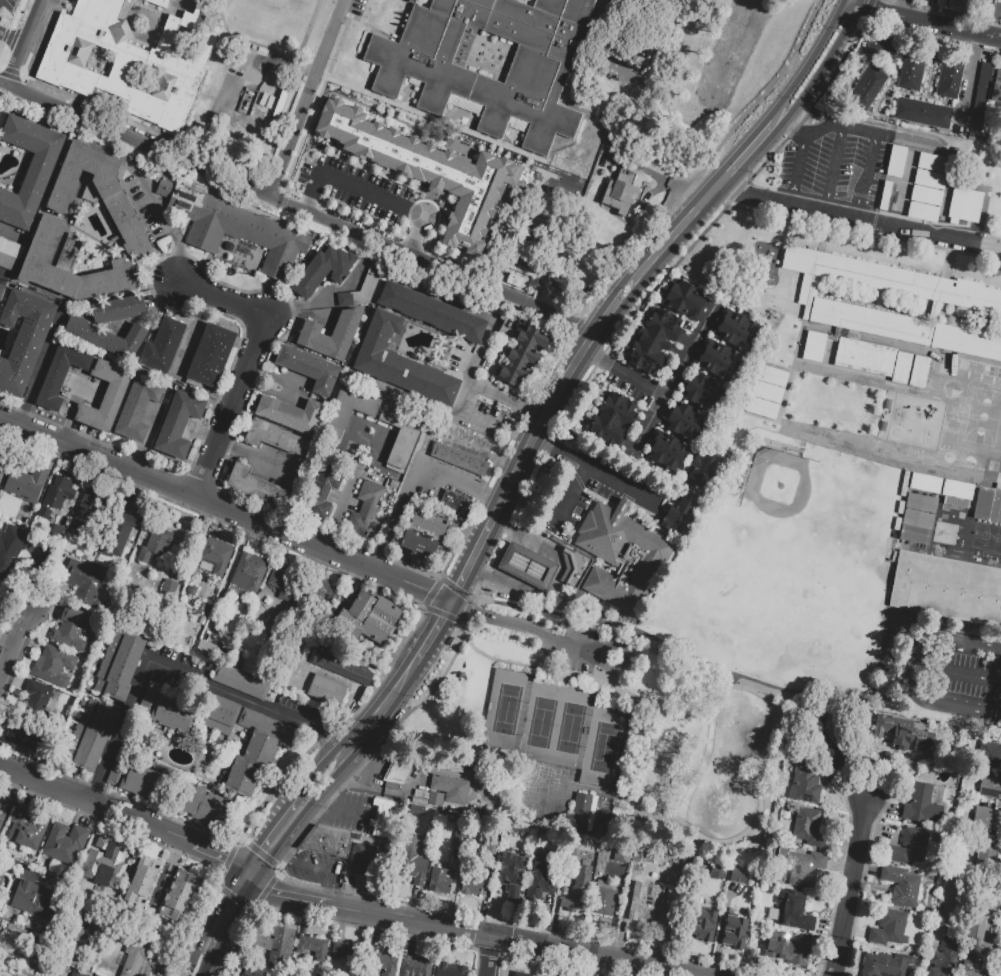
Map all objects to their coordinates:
building: (178, 0)
building: (986, 0)
building: (159, 3)
road: (856, 3)
building: (962, 6)
parking lot: (357, 9)
building: (568, 9)
road: (165, 12)
road: (928, 21)
road: (308, 30)
road: (377, 32)
building: (544, 35)
road: (5, 39)
road: (22, 42)
road: (15, 44)
road: (367, 45)
road: (256, 46)
building: (882, 46)
building: (129, 59)
road: (812, 62)
road: (822, 70)
building: (913, 73)
road: (969, 76)
building: (952, 79)
road: (337, 81)
building: (474, 81)
building: (998, 85)
road: (322, 87)
building: (868, 89)
road: (310, 98)
building: (982, 102)
building: (0, 110)
building: (924, 115)
road: (602, 119)
road: (306, 128)
road: (793, 129)
road: (844, 130)
road: (136, 140)
road: (750, 149)
parking lot: (352, 151)
road: (527, 155)
parking lot: (838, 161)
building: (899, 163)
road: (803, 164)
road: (707, 166)
building: (425, 169)
building: (30, 171)
road: (835, 171)
building: (106, 178)
road: (869, 178)
road: (280, 183)
building: (163, 188)
building: (930, 189)
road: (373, 193)
building: (623, 196)
building: (887, 197)
building: (967, 207)
road: (341, 208)
parking lot: (147, 209)
road: (858, 219)
road: (167, 224)
building: (129, 227)
building: (236, 230)
building: (44, 243)
building: (10, 255)
road: (433, 264)
building: (322, 270)
building: (886, 281)
building: (110, 282)
building: (516, 282)
building: (362, 289)
building: (1, 291)
building: (688, 295)
building: (681, 308)
building: (117, 309)
building: (431, 313)
building: (665, 320)
building: (740, 325)
building: (905, 328)
building: (661, 330)
road: (592, 334)
building: (311, 335)
building: (106, 337)
building: (732, 337)
building: (652, 338)
building: (23, 339)
building: (814, 345)
building: (164, 348)
building: (646, 350)
parking lot: (444, 355)
building: (722, 356)
building: (865, 356)
building: (523, 357)
building: (212, 359)
road: (250, 362)
building: (400, 364)
building: (642, 364)
building: (713, 367)
building: (901, 367)
road: (38, 370)
building: (309, 370)
building: (919, 371)
road: (623, 373)
building: (60, 375)
road: (470, 378)
building: (705, 386)
road: (484, 387)
building: (767, 391)
building: (106, 396)
building: (698, 398)
building: (621, 405)
building: (138, 409)
building: (348, 411)
parking lot: (489, 412)
building: (291, 415)
building: (687, 416)
road: (462, 417)
building: (614, 417)
park: (983, 417)
road: (653, 418)
building: (179, 425)
building: (681, 428)
building: (400, 431)
building: (603, 433)
building: (276, 439)
road: (540, 441)
park: (1000, 446)
building: (673, 447)
road: (558, 451)
building: (456, 459)
building: (666, 459)
building: (4, 463)
building: (696, 468)
building: (710, 474)
road: (451, 478)
parking lot: (438, 480)
road: (612, 480)
building: (27, 484)
building: (926, 484)
building: (255, 485)
parking lot: (582, 487)
building: (957, 491)
road: (344, 492)
building: (324, 493)
building: (57, 494)
road: (493, 495)
road: (570, 497)
park: (789, 499)
building: (456, 505)
building: (987, 505)
park: (996, 507)
road: (225, 508)
building: (367, 510)
building: (919, 512)
building: (89, 513)
building: (673, 515)
road: (395, 516)
building: (123, 517)
building: (684, 521)
building: (431, 525)
road: (510, 528)
park: (993, 536)
building: (117, 539)
building: (12, 543)
building: (155, 545)
building: (422, 545)
building: (217, 557)
building: (619, 558)
road: (514, 559)
road: (470, 560)
building: (526, 565)
gas station: (526, 565)
building: (572, 569)
building: (251, 573)
road: (487, 576)
building: (85, 582)
building: (288, 583)
building: (946, 588)
road: (49, 589)
building: (170, 589)
road: (463, 595)
building: (323, 597)
road: (19, 599)
traffic signals: (450, 602)
park: (777, 606)
building: (363, 607)
road: (46, 610)
building: (203, 612)
building: (388, 613)
road: (466, 613)
road: (10, 621)
building: (350, 625)
building: (71, 629)
road: (534, 629)
building: (288, 630)
building: (378, 631)
road: (433, 636)
road: (928, 638)
road: (6, 645)
road: (28, 645)
road: (13, 647)
building: (206, 650)
parking lot: (573, 652)
road: (696, 660)
building: (53, 665)
building: (120, 666)
building: (343, 669)
parking lot: (181, 673)
road: (181, 674)
parking lot: (961, 675)
road: (571, 676)
road: (959, 676)
road: (14, 681)
road: (734, 681)
building: (236, 682)
building: (327, 692)
road: (629, 696)
building: (147, 698)
building: (40, 701)
road: (958, 706)
parking lot: (301, 709)
road: (381, 713)
building: (175, 715)
building: (221, 716)
road: (774, 717)
park: (600, 724)
building: (902, 732)
building: (23, 737)
building: (92, 738)
building: (822, 742)
building: (258, 752)
building: (989, 754)
road: (366, 755)
road: (439, 772)
road: (316, 773)
building: (398, 773)
road: (864, 774)
parking lot: (373, 777)
building: (137, 779)
building: (498, 782)
road: (368, 784)
building: (805, 785)
building: (990, 786)
building: (452, 790)
road: (79, 797)
building: (433, 797)
road: (1000, 803)
road: (324, 804)
building: (205, 806)
building: (921, 806)
building: (3, 809)
road: (349, 813)
building: (583, 813)
parking lot: (349, 814)
building: (789, 814)
road: (300, 818)
building: (985, 818)
building: (381, 820)
building: (25, 827)
building: (809, 830)
road: (266, 834)
road: (169, 836)
building: (359, 837)
building: (328, 842)
building: (65, 843)
traffic signals: (258, 845)
building: (908, 847)
building: (493, 849)
building: (620, 855)
building: (988, 855)
road: (210, 856)
road: (286, 856)
building: (646, 858)
building: (413, 860)
building: (104, 862)
traffic signals: (223, 862)
building: (369, 862)
road: (22, 866)
building: (147, 868)
building: (801, 868)
parking lot: (318, 869)
road: (319, 870)
road: (169, 872)
building: (1, 873)
building: (718, 873)
building: (513, 876)
building: (738, 876)
building: (546, 877)
road: (247, 878)
road: (165, 879)
building: (445, 882)
building: (183, 883)
building: (473, 885)
building: (900, 885)
road: (850, 887)
building: (138, 891)
traffic signals: (269, 891)
road: (332, 894)
road: (280, 895)
building: (34, 898)
building: (605, 900)
road: (320, 902)
building: (576, 902)
building: (648, 906)
building: (172, 907)
traffic signals: (240, 907)
road: (158, 909)
building: (792, 913)
road: (305, 917)
road: (232, 920)
road: (211, 923)
building: (1000, 924)
building: (705, 926)
building: (978, 928)
building: (889, 929)
building: (733, 934)
building: (82, 936)
building: (264, 936)
road: (508, 941)
building: (281, 946)
building: (312, 946)
building: (788, 949)
building: (998, 949)
building: (347, 952)
building: (134, 956)
road: (487, 957)
building: (944, 959)
building: (381, 962)
building: (974, 962)
building: (886, 964)
road: (206, 965)
building: (414, 966)
building: (449, 969)
building: (253, 971)
building: (73, 973)
road: (200, 974)
building: (521, 974)

